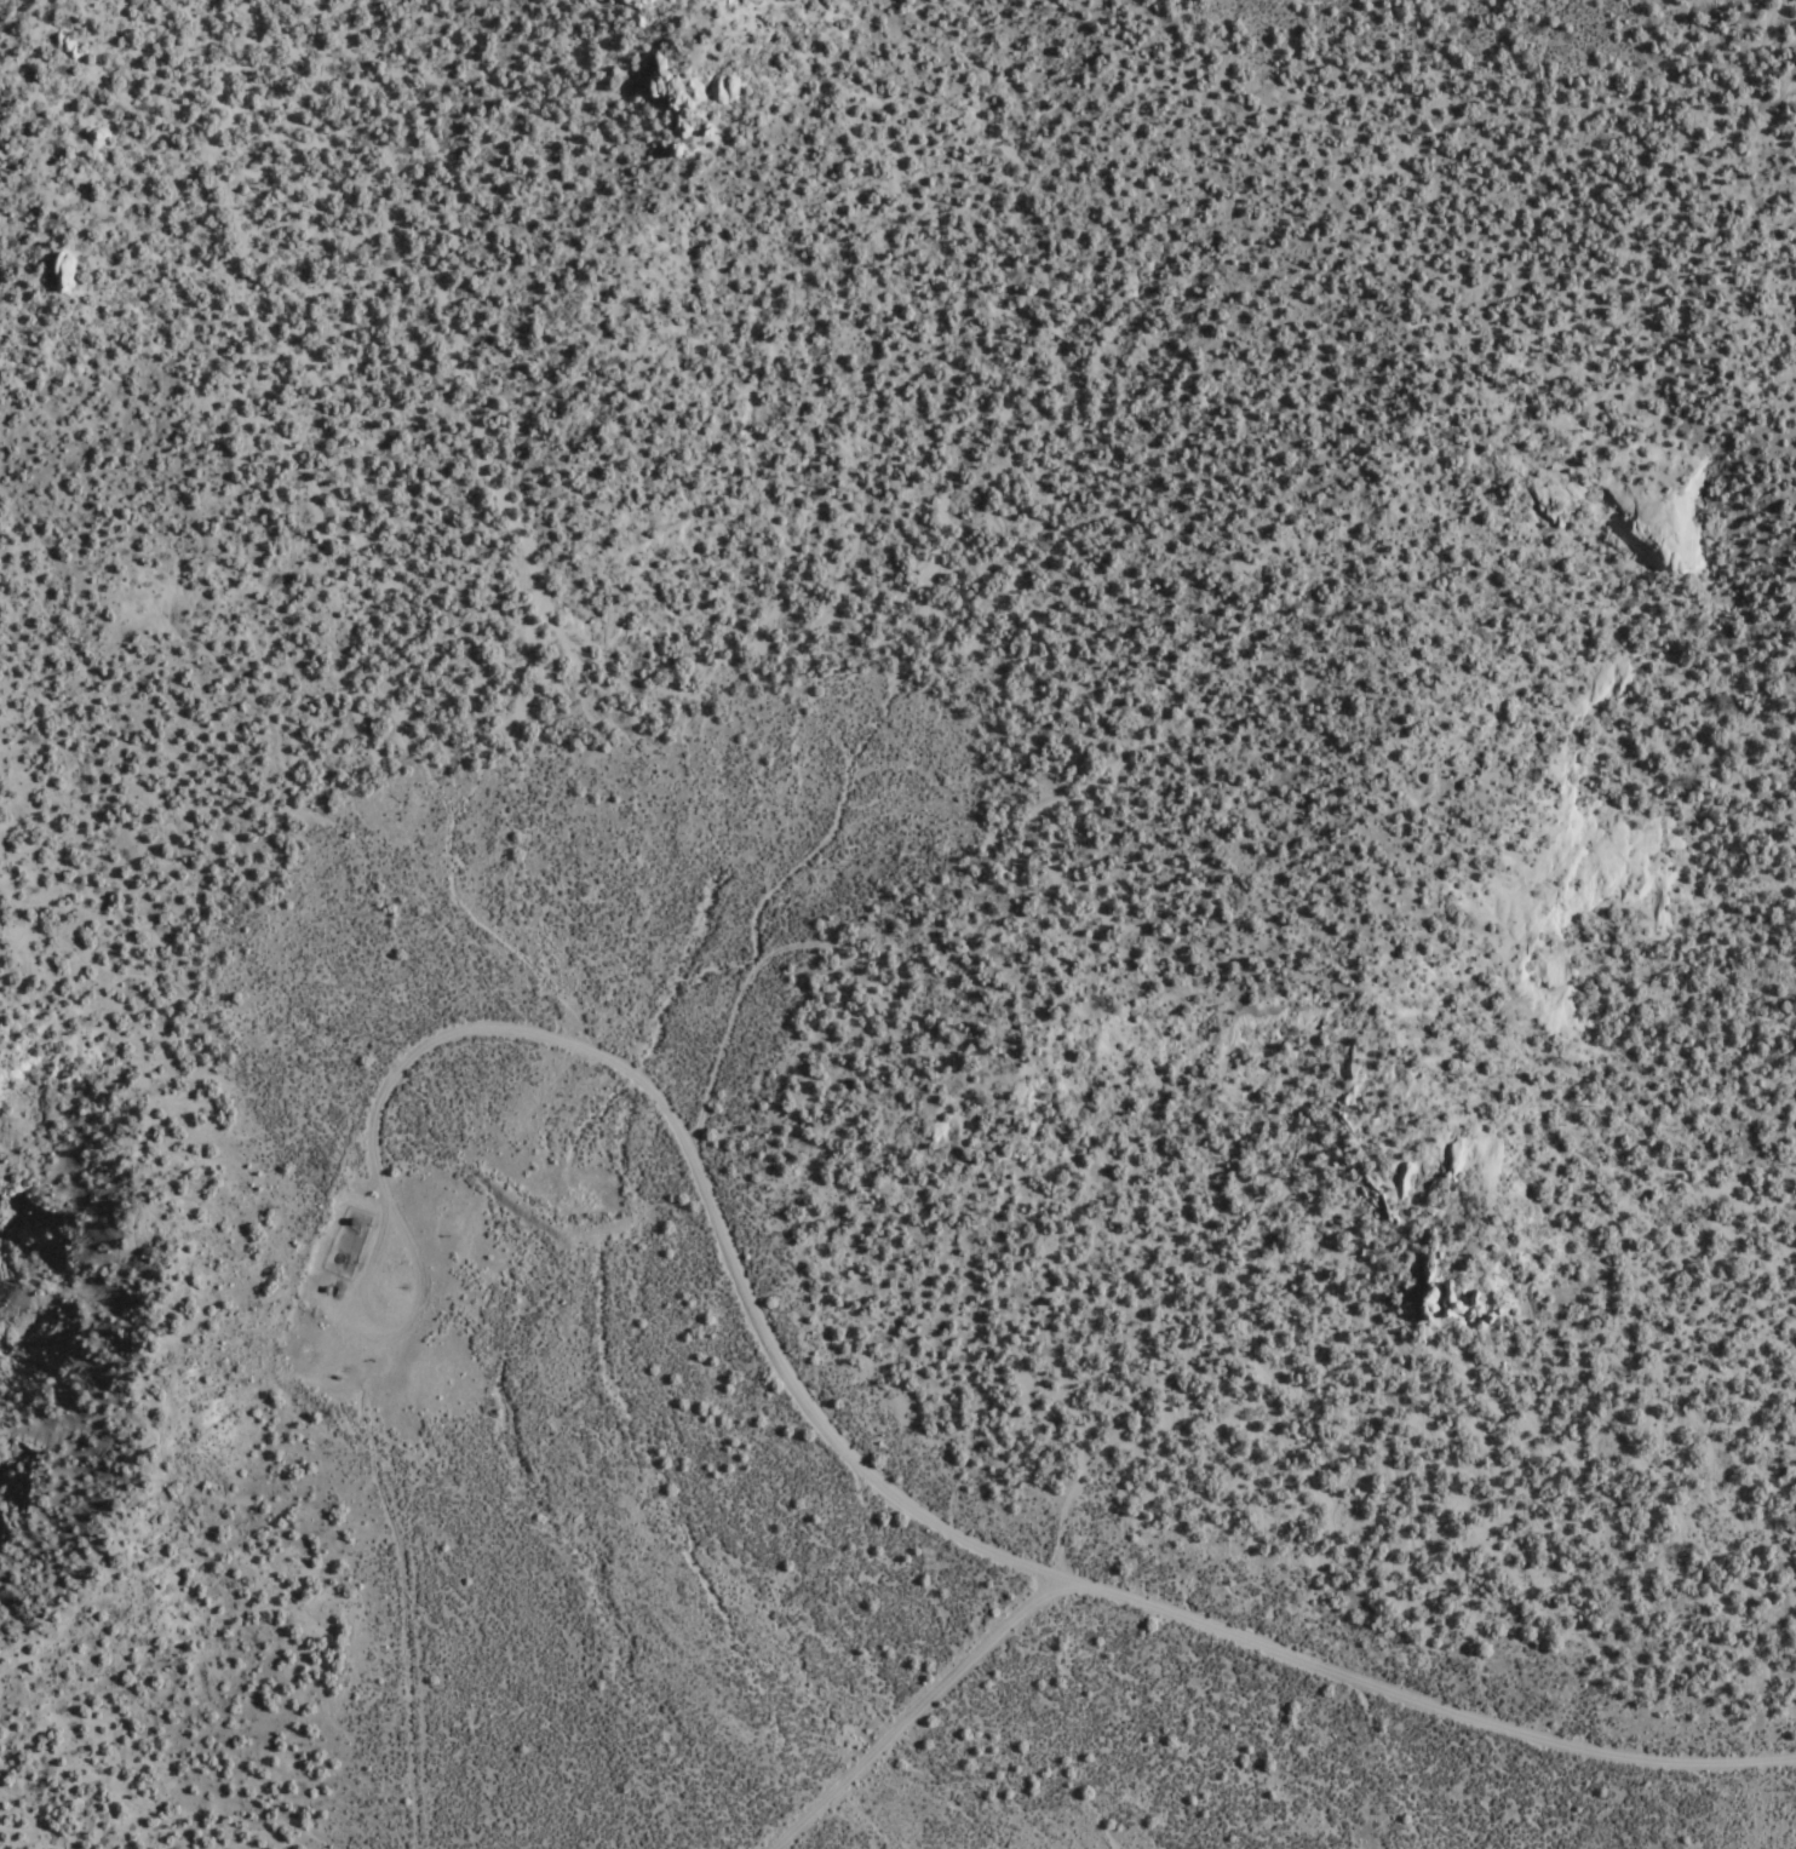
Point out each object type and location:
road: (1306, 1631)

